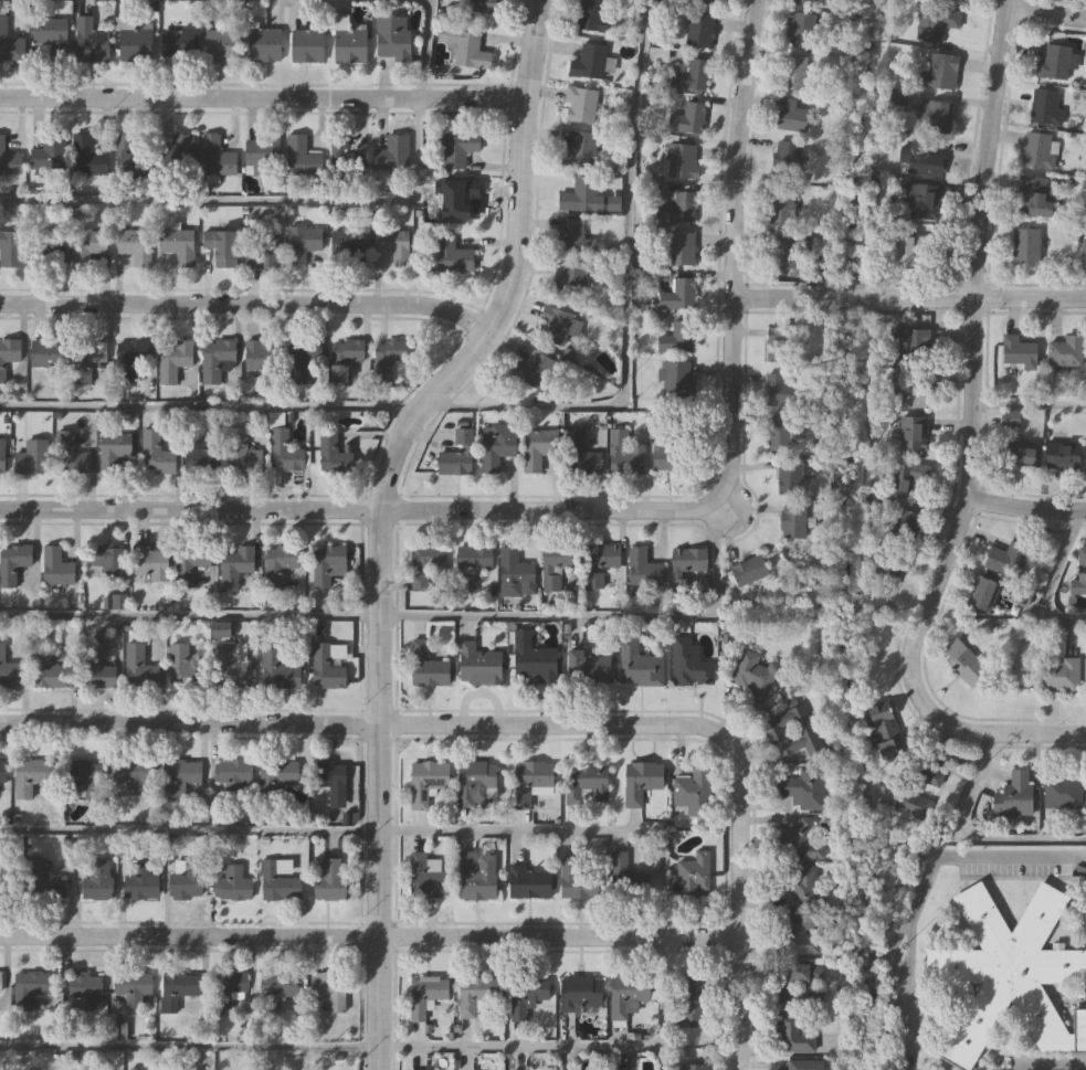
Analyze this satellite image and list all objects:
building: (949, 1)
building: (707, 2)
building: (804, 2)
building: (481, 7)
road: (1045, 12)
building: (591, 15)
building: (943, 19)
building: (800, 30)
building: (699, 31)
building: (50, 39)
building: (393, 39)
building: (91, 42)
building: (9, 44)
building: (134, 45)
building: (178, 45)
building: (222, 46)
building: (264, 46)
building: (308, 46)
building: (350, 46)
building: (468, 50)
building: (588, 63)
building: (1055, 63)
building: (940, 72)
building: (792, 73)
building: (692, 76)
road: (261, 96)
building: (579, 105)
building: (1045, 107)
building: (790, 116)
building: (934, 116)
building: (688, 119)
building: (458, 148)
building: (579, 148)
building: (1040, 150)
building: (392, 151)
building: (48, 153)
building: (179, 153)
building: (262, 156)
building: (86, 157)
building: (129, 157)
building: (302, 157)
building: (215, 158)
building: (921, 158)
building: (348, 159)
building: (784, 159)
building: (9, 160)
building: (682, 161)
building: (581, 195)
building: (460, 197)
building: (1033, 197)
road: (308, 201)
building: (921, 201)
building: (780, 206)
building: (683, 208)
building: (572, 237)
building: (302, 242)
building: (178, 245)
building: (349, 245)
building: (393, 245)
building: (1026, 245)
building: (135, 246)
building: (222, 246)
building: (48, 247)
building: (91, 247)
building: (11, 248)
building: (681, 248)
building: (1084, 251)
building: (262, 252)
building: (781, 252)
building: (910, 252)
building: (453, 256)
building: (571, 276)
road: (906, 294)
building: (677, 295)
road: (243, 300)
building: (557, 325)
building: (676, 338)
building: (778, 345)
building: (910, 347)
road: (971, 349)
building: (1019, 351)
building: (1065, 351)
building: (9, 353)
building: (48, 353)
building: (261, 356)
building: (346, 357)
building: (388, 357)
building: (87, 358)
building: (130, 358)
building: (303, 358)
building: (218, 359)
building: (175, 360)
building: (534, 369)
building: (672, 379)
building: (778, 391)
building: (909, 391)
road: (1029, 404)
road: (512, 407)
building: (1010, 419)
building: (911, 433)
building: (777, 434)
building: (283, 446)
building: (496, 446)
building: (538, 447)
building: (665, 448)
building: (113, 449)
building: (335, 453)
building: (156, 454)
building: (242, 454)
building: (2, 455)
building: (457, 455)
building: (624, 455)
building: (204, 456)
building: (31, 457)
building: (582, 457)
building: (1020, 457)
building: (1062, 457)
building: (72, 458)
building: (908, 475)
building: (790, 477)
road: (610, 505)
road: (1023, 508)
road: (378, 515)
building: (791, 523)
building: (906, 523)
building: (605, 557)
building: (108, 559)
building: (475, 559)
building: (1005, 560)
building: (13, 562)
building: (150, 562)
building: (278, 563)
building: (190, 564)
building: (556, 564)
building: (235, 565)
building: (425, 565)
building: (686, 565)
building: (330, 566)
building: (879, 566)
building: (55, 568)
building: (642, 569)
building: (748, 570)
building: (514, 573)
building: (1079, 574)
road: (1052, 580)
building: (593, 581)
building: (983, 593)
building: (1022, 597)
road: (418, 616)
building: (534, 664)
building: (966, 664)
building: (689, 665)
building: (235, 666)
building: (426, 666)
building: (478, 666)
building: (637, 666)
building: (139, 668)
building: (184, 668)
building: (326, 668)
building: (589, 668)
building: (96, 669)
building: (278, 670)
building: (9, 671)
building: (51, 671)
building: (755, 672)
building: (1058, 675)
road: (360, 724)
building: (885, 729)
road: (991, 731)
building: (791, 735)
building: (3, 772)
building: (280, 773)
building: (233, 774)
building: (134, 775)
building: (30, 776)
building: (87, 777)
building: (179, 777)
building: (329, 781)
building: (641, 781)
building: (425, 782)
building: (531, 782)
building: (476, 784)
building: (586, 785)
building: (803, 790)
building: (917, 791)
building: (694, 792)
building: (1063, 793)
building: (1014, 795)
road: (449, 830)
road: (969, 838)
building: (799, 840)
building: (630, 872)
building: (693, 875)
building: (477, 876)
building: (428, 878)
building: (97, 880)
building: (329, 880)
building: (7, 881)
building: (187, 881)
building: (43, 882)
building: (577, 882)
building: (140, 883)
building: (529, 883)
building: (233, 884)
building: (277, 884)
building: (797, 886)
road: (922, 887)
road: (737, 900)
building: (798, 934)
road: (368, 935)
building: (804, 972)
building: (1011, 972)
building: (0, 982)
building: (280, 985)
building: (180, 987)
building: (30, 988)
building: (131, 988)
building: (228, 989)
building: (330, 990)
building: (84, 992)
building: (580, 993)
building: (475, 994)
building: (628, 994)
building: (425, 995)
building: (783, 995)
building: (526, 997)
building: (694, 1003)
building: (791, 1032)
road: (330, 1047)
building: (693, 1067)
road: (1077, 1069)

